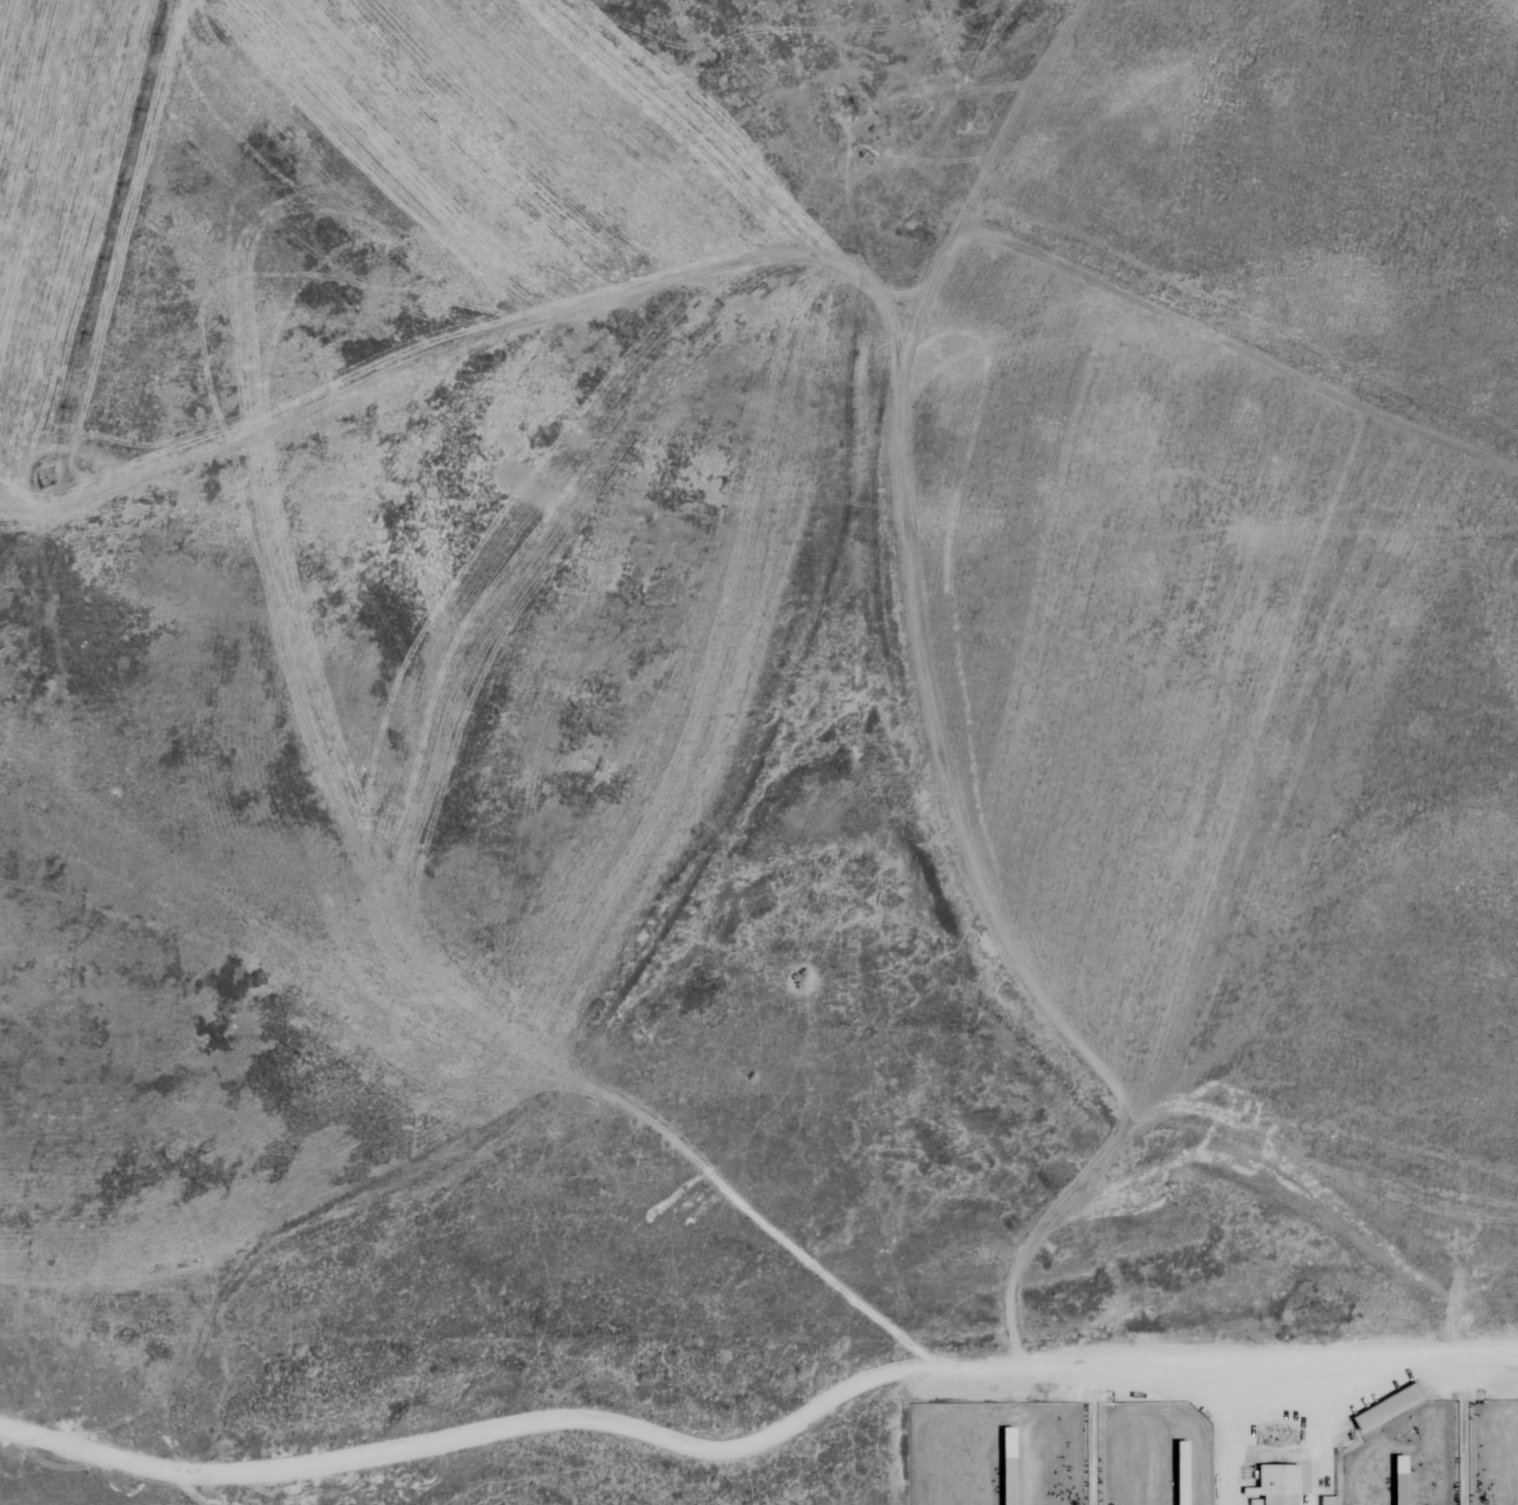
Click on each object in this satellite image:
building: (1392, 1407)
road: (758, 1443)
building: (1278, 1486)
building: (1331, 1501)

